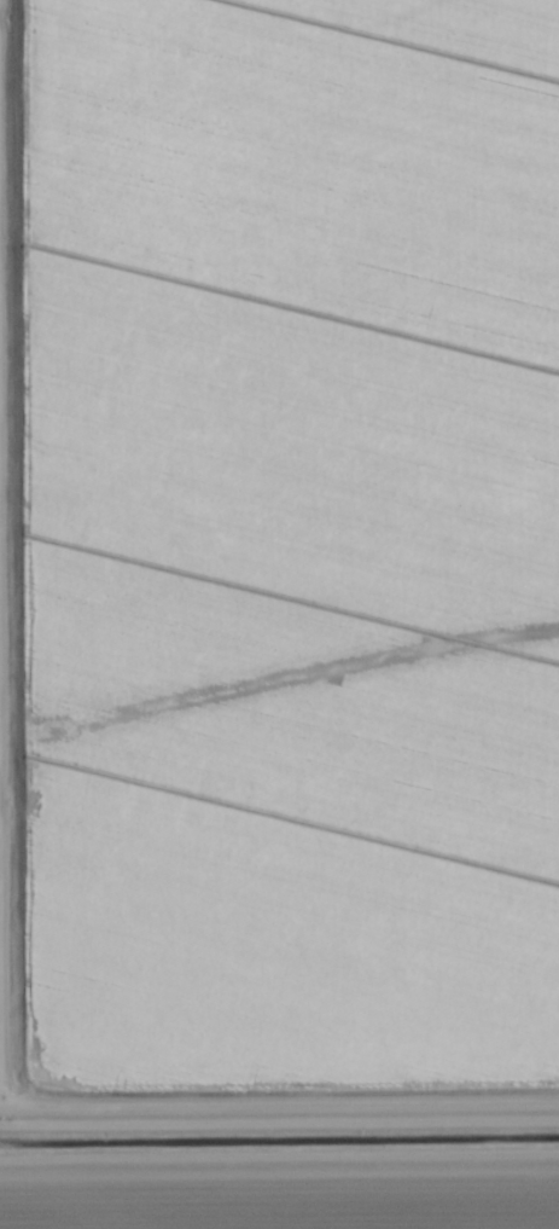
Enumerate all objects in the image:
crop: (279, 614)

